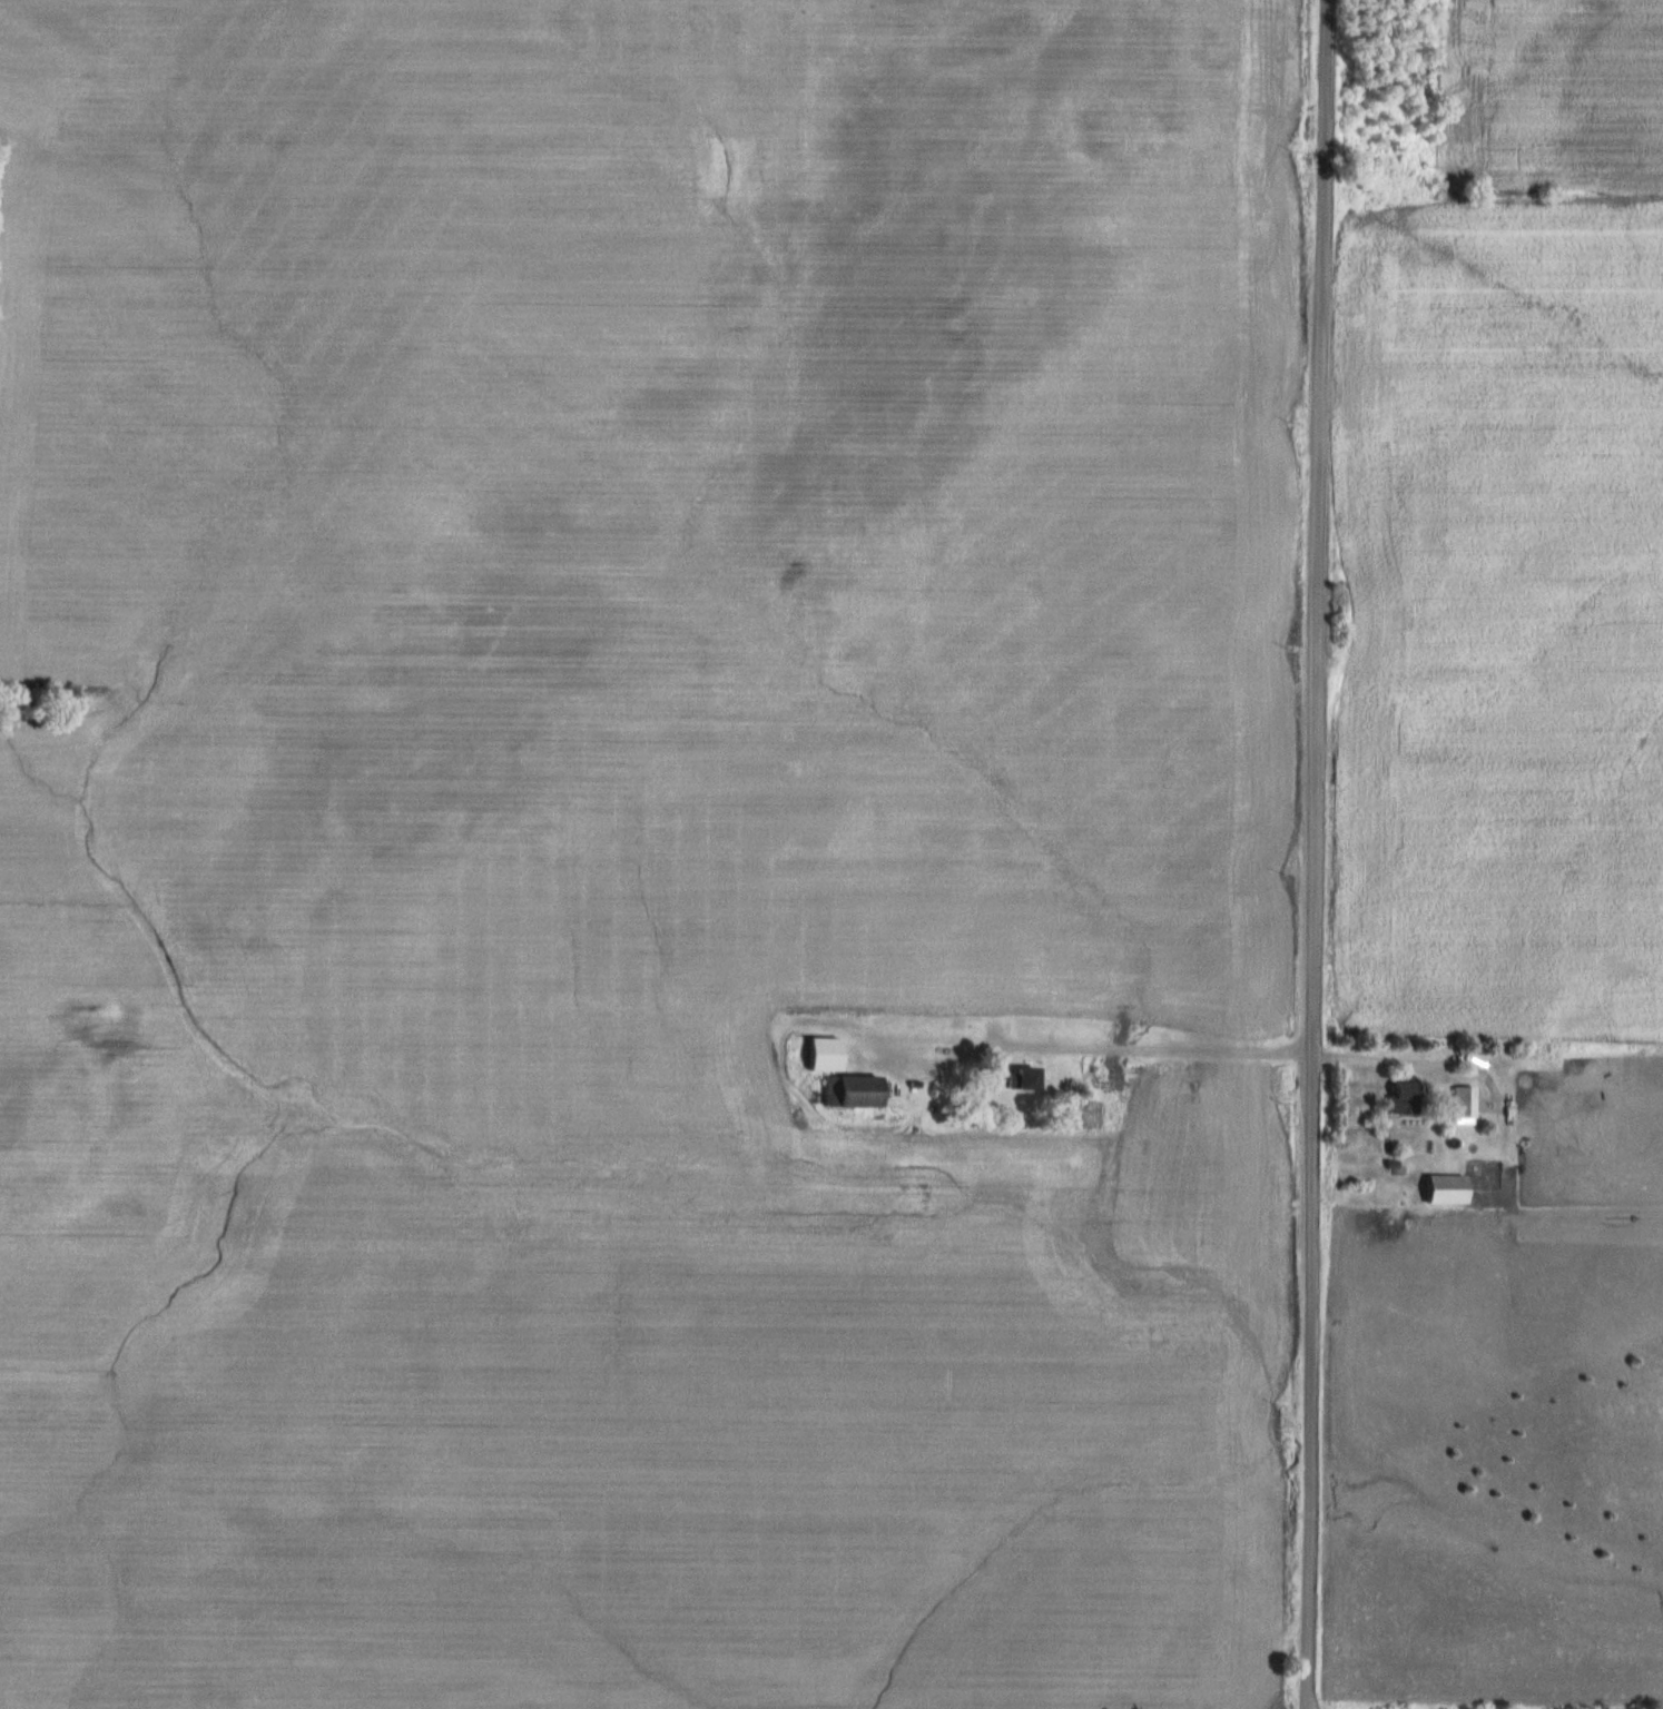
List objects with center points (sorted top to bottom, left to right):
road: (1313, 853)
road: (1157, 1047)
building: (825, 1054)
road: (1377, 1060)
building: (1025, 1079)
building: (853, 1091)
building: (1404, 1099)
building: (1464, 1104)
building: (1446, 1191)

